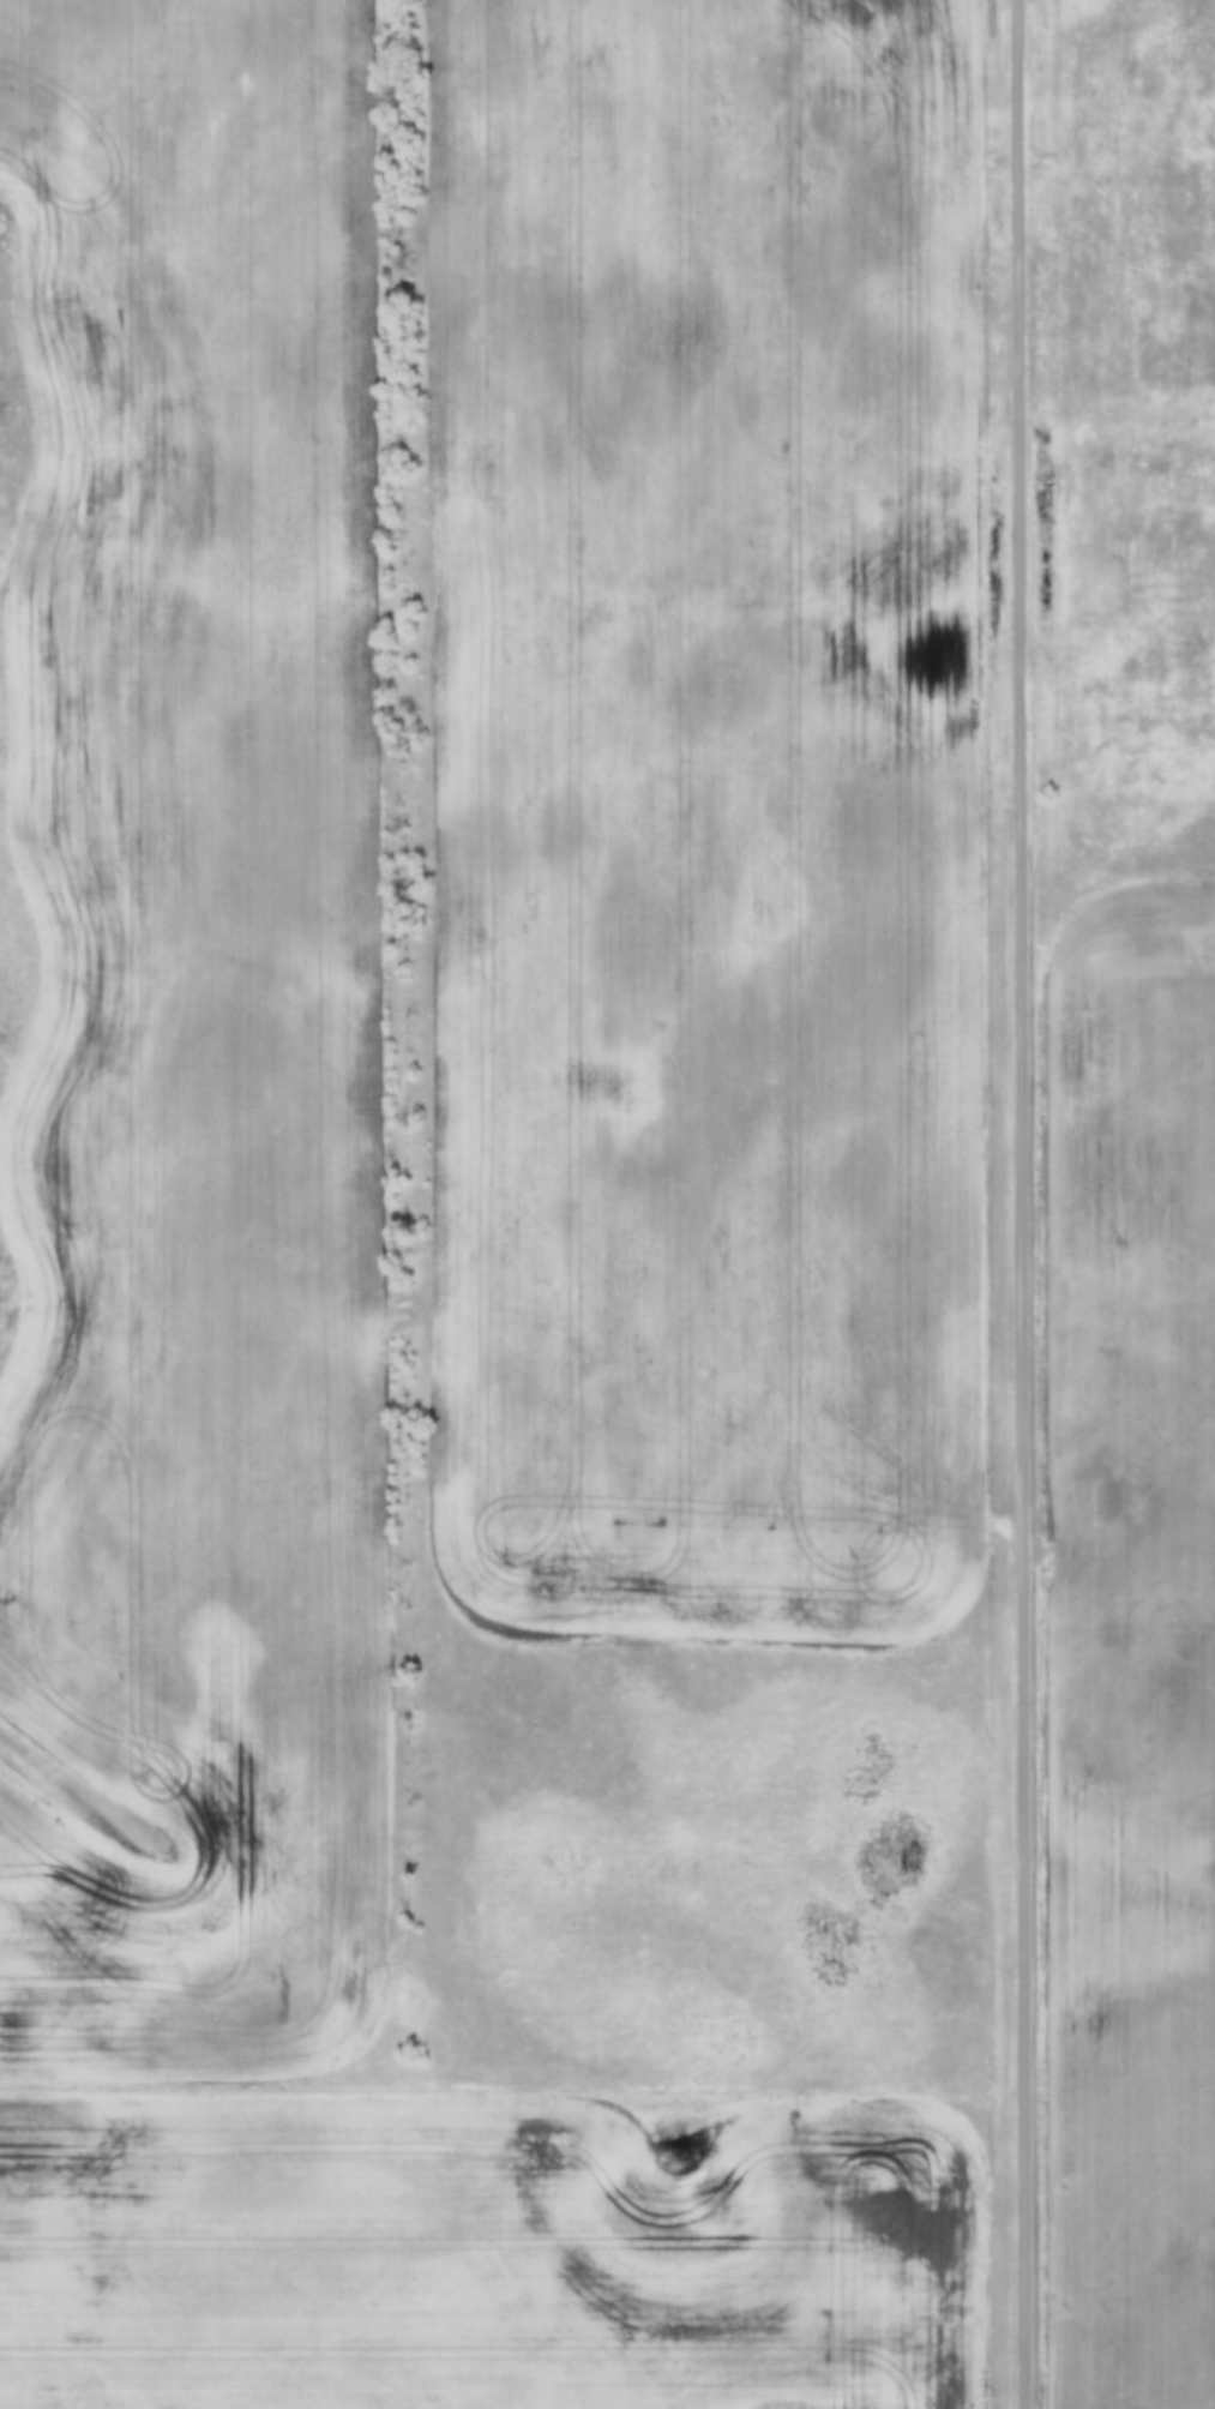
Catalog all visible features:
road: (1019, 1204)

